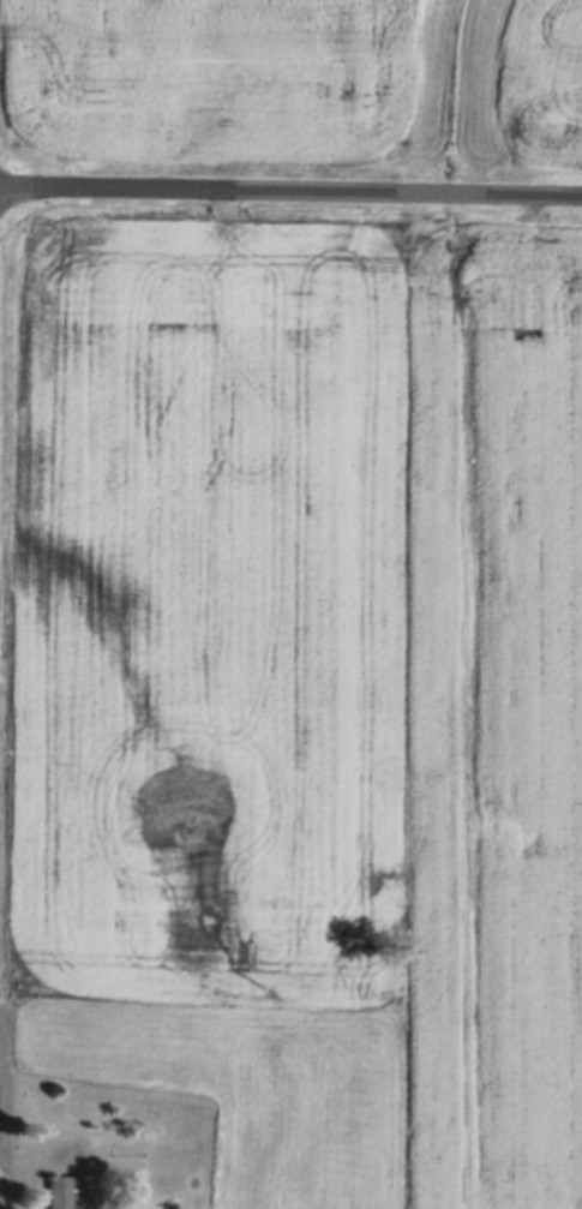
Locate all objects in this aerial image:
road: (290, 186)
building: (61, 1189)
building: (78, 1192)

